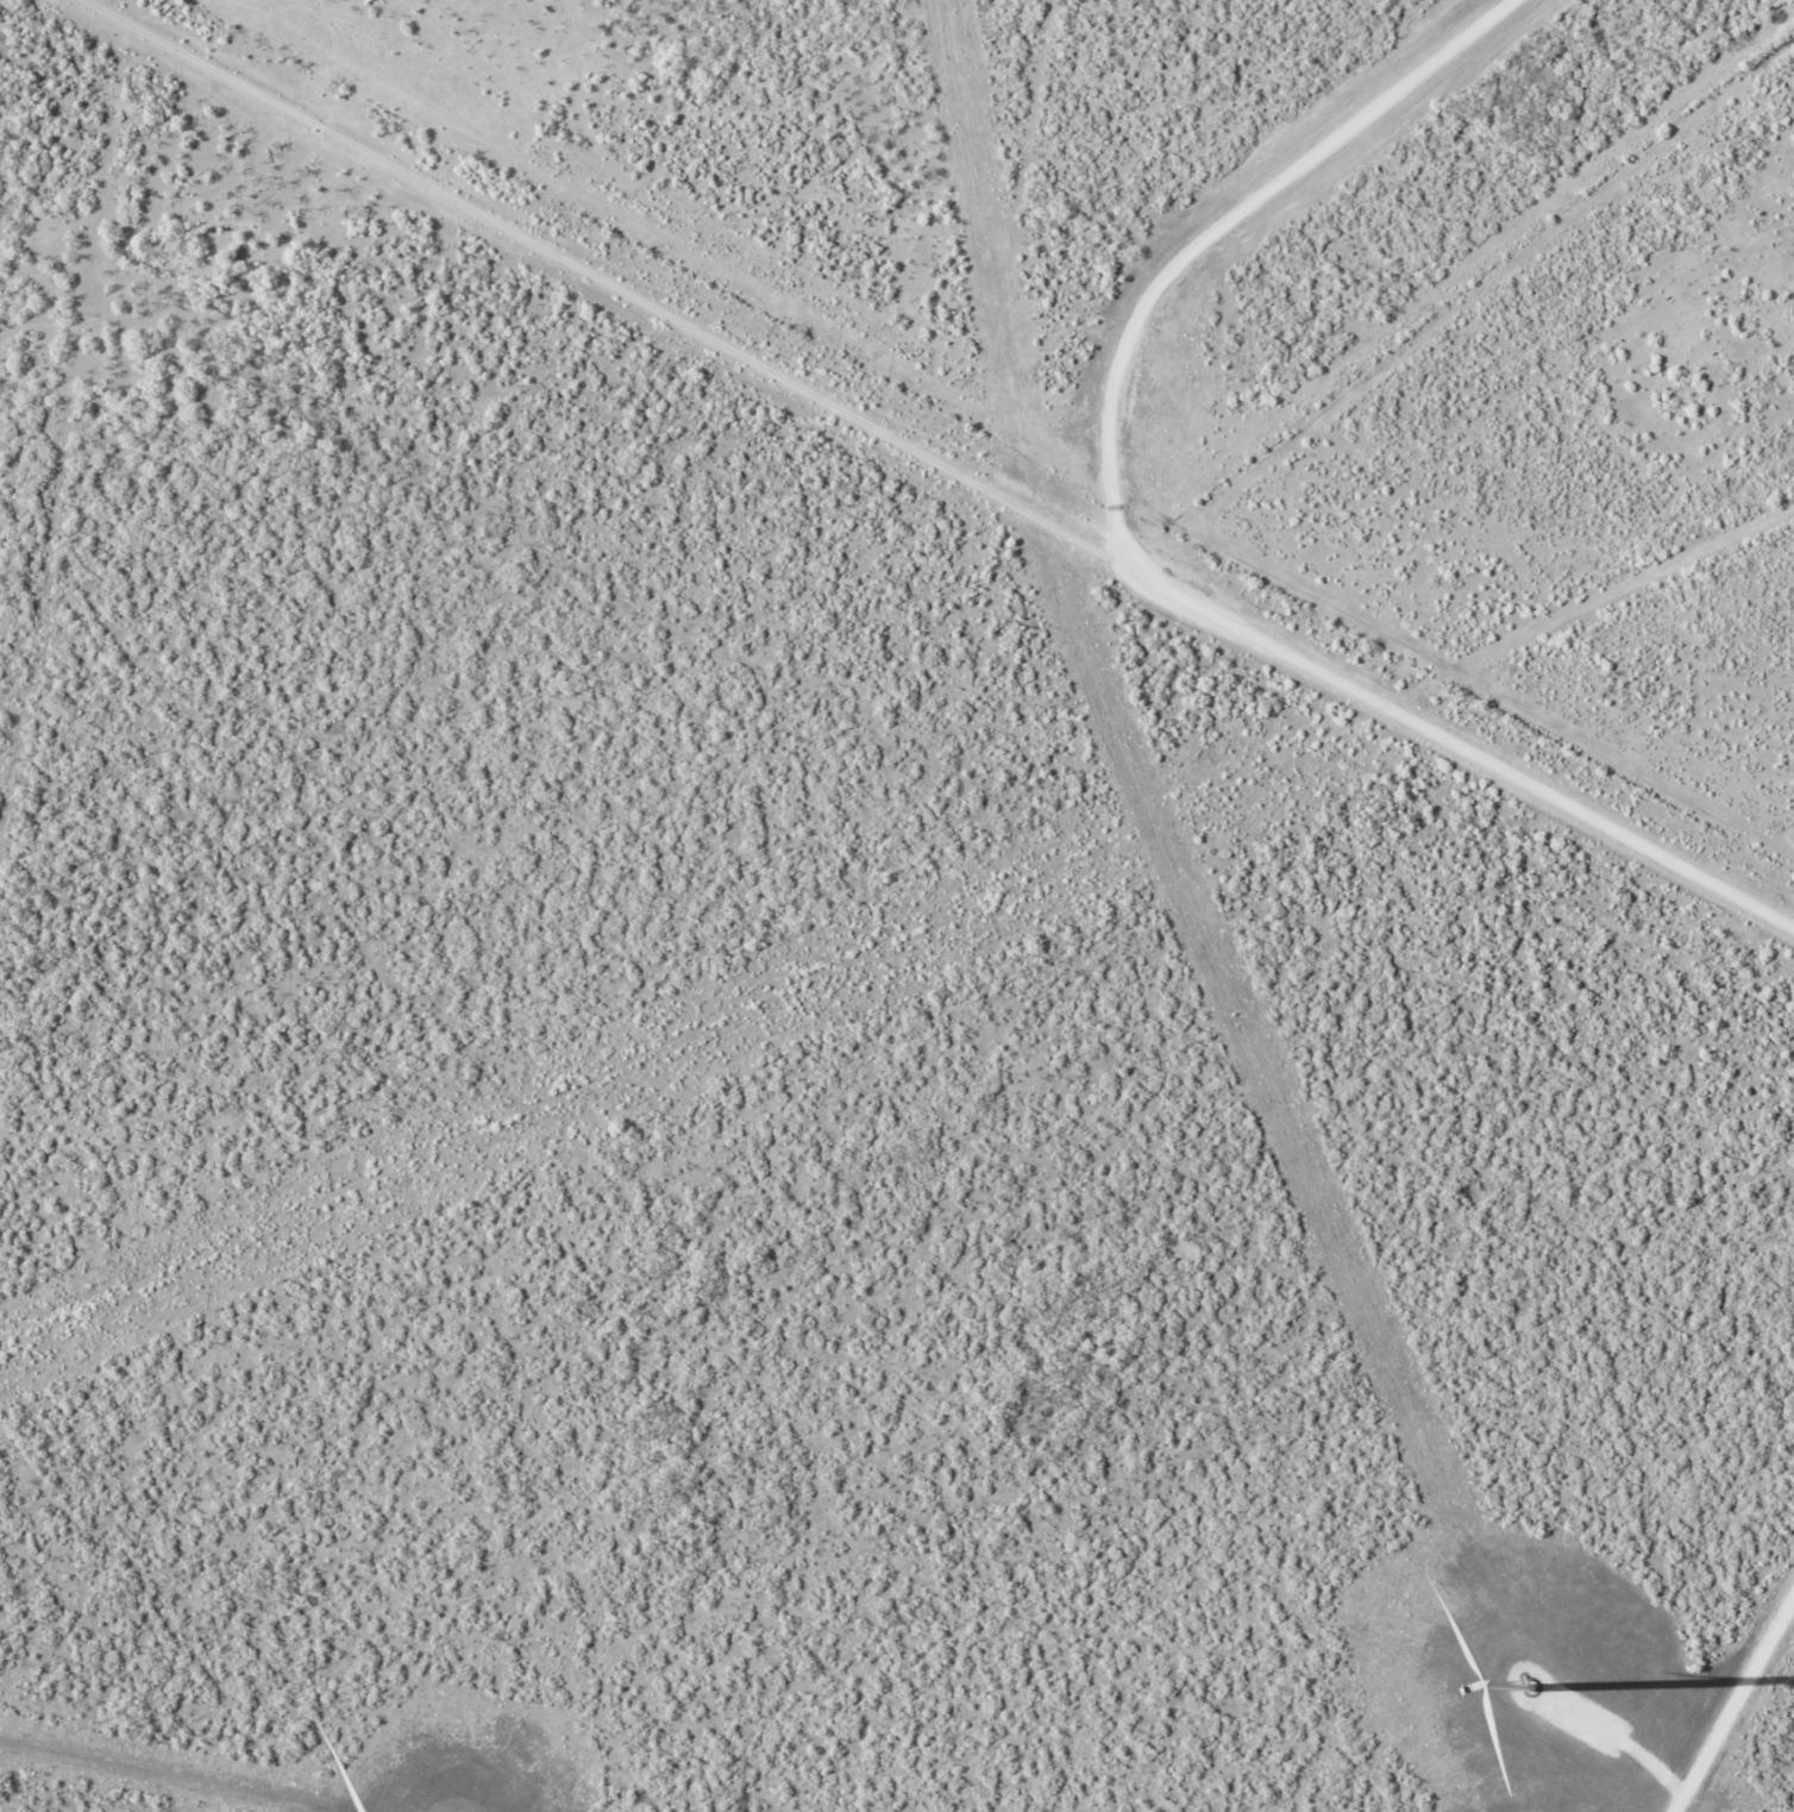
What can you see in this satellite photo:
road: (905, 478)
wind turbine: (1526, 1686)
road: (1758, 1749)

